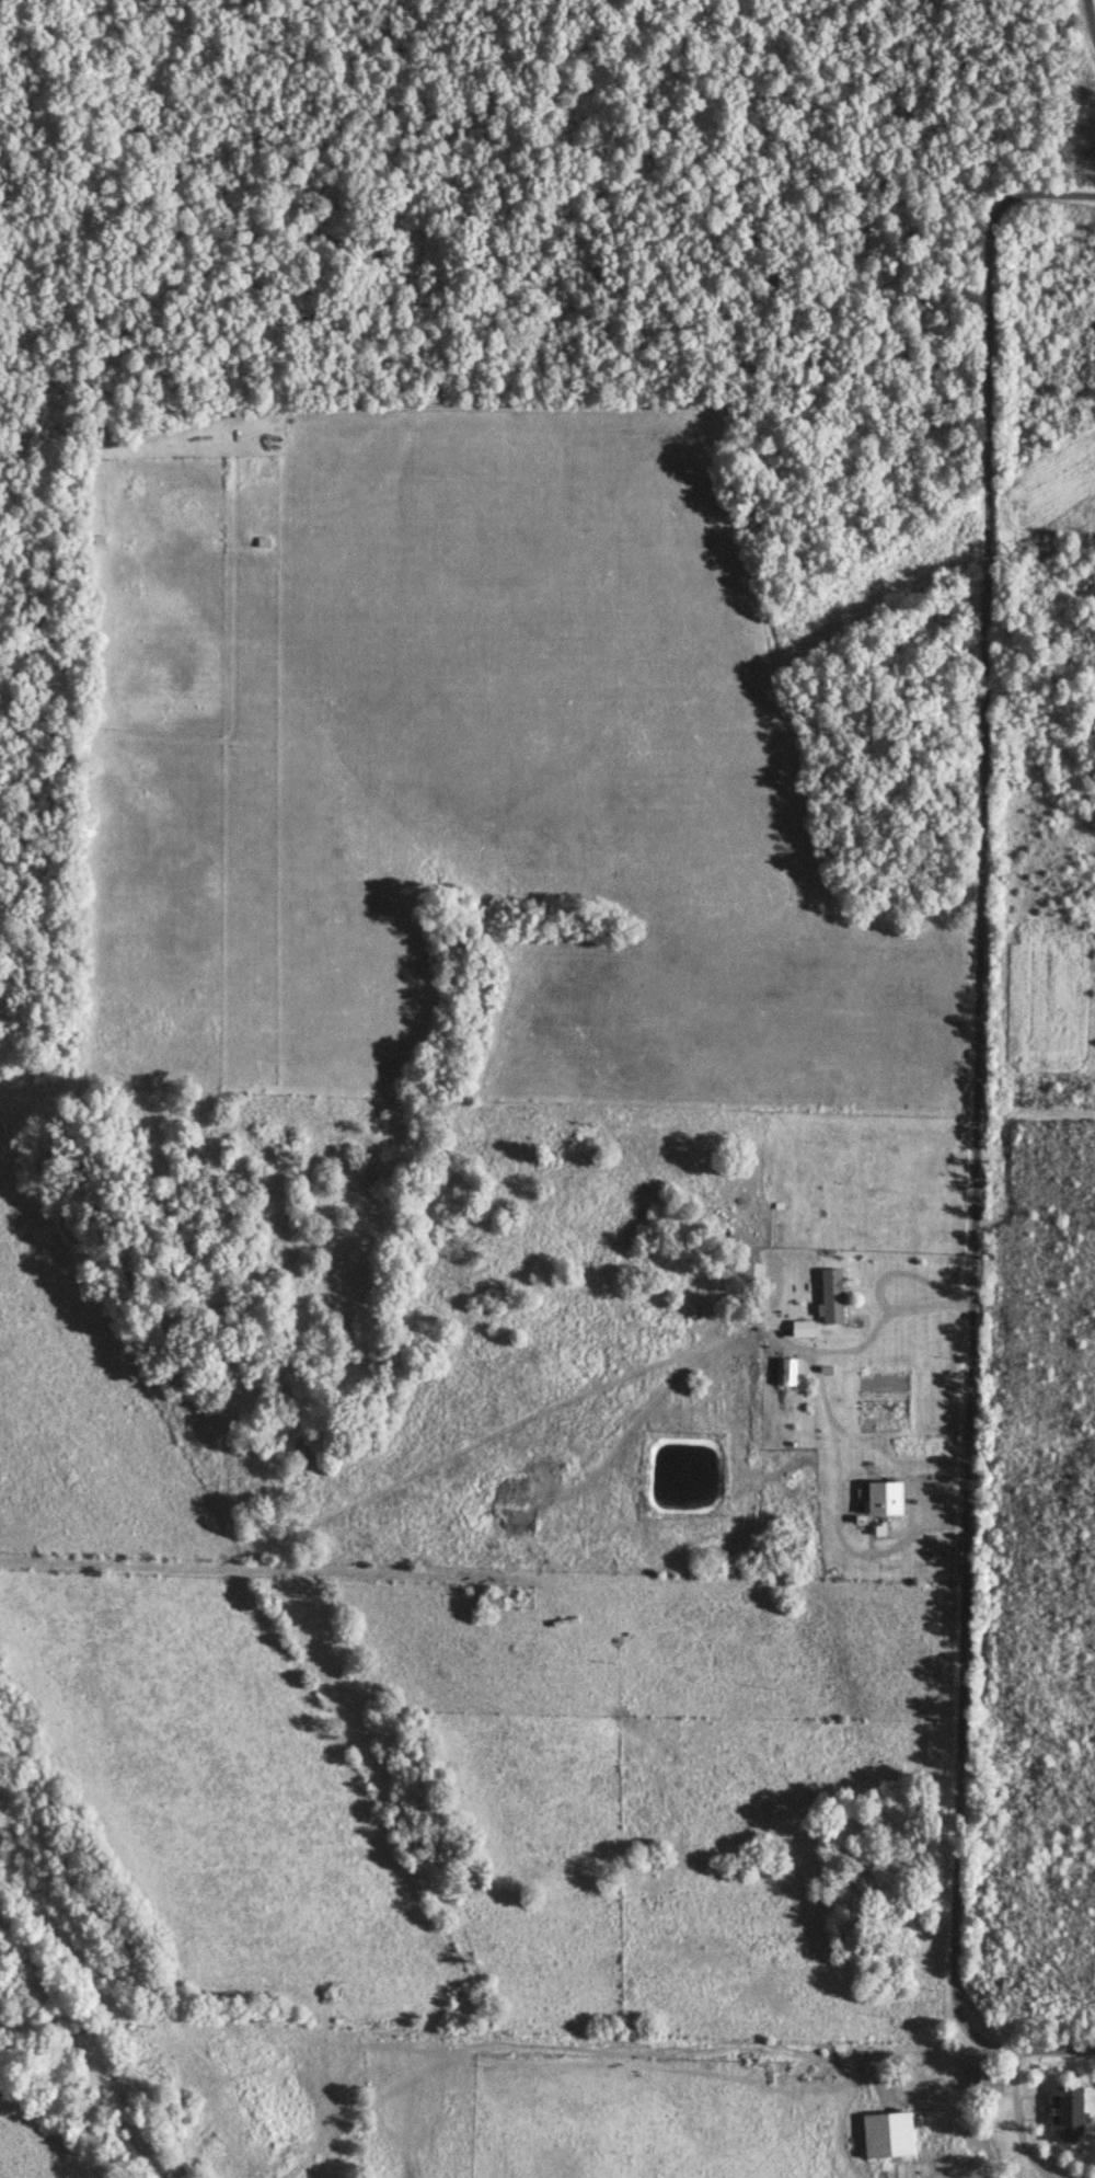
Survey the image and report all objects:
road: (1091, 15)
road: (975, 1134)
road: (878, 1271)
building: (750, 1272)
building: (834, 1295)
building: (806, 1328)
building: (486, 1607)
building: (993, 2075)
building: (888, 2133)
building: (1084, 2142)

